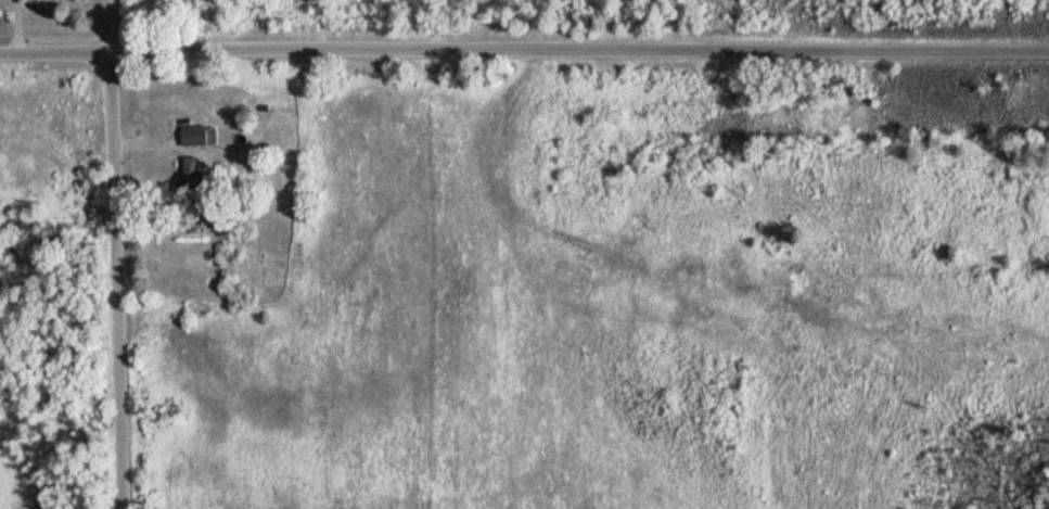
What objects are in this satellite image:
road: (524, 51)
building: (197, 136)
building: (191, 176)
road: (117, 254)

